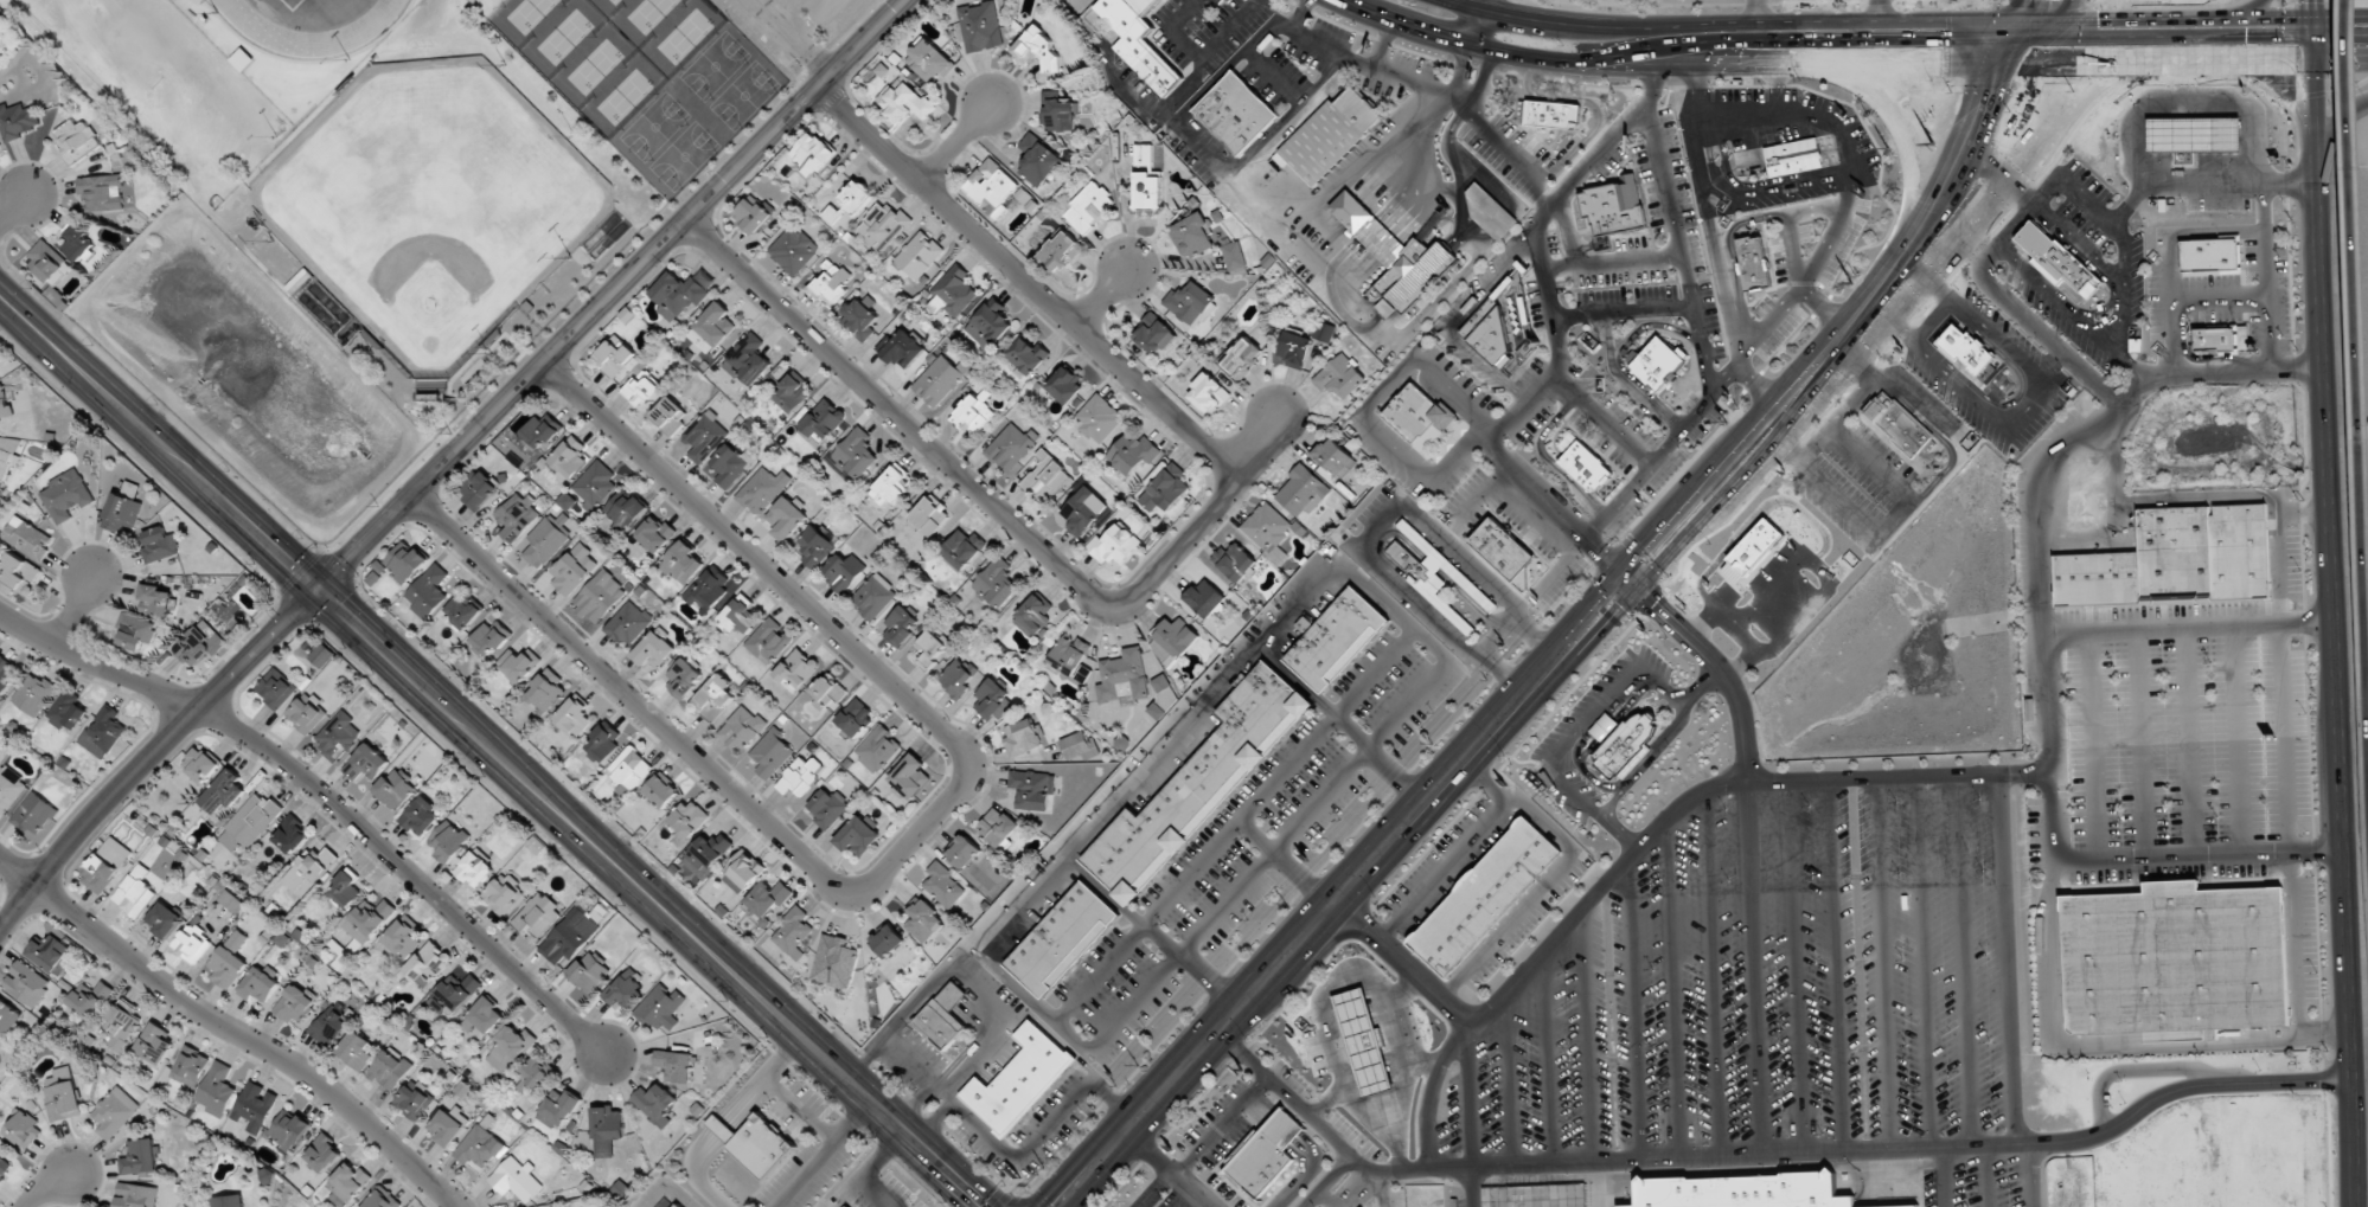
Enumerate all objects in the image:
park: (290, 4)
road: (1487, 6)
road: (2248, 13)
road: (1300, 14)
road: (1758, 14)
road: (1882, 14)
road: (774, 20)
traffic signals: (2340, 25)
building: (980, 26)
road: (2299, 26)
traffic signals: (2047, 27)
road: (1480, 30)
road: (1836, 30)
road: (1263, 31)
road: (798, 37)
building: (1139, 41)
road: (1382, 43)
road: (1678, 46)
building: (1038, 49)
road: (1199, 54)
building: (929, 60)
traffic signals: (2046, 63)
road: (2156, 63)
road: (2317, 63)
traffic signals: (2267, 64)
road: (1687, 68)
road: (1460, 71)
road: (1480, 77)
road: (2289, 79)
road: (1653, 90)
road: (1777, 91)
road: (1461, 101)
building: (905, 103)
building: (1236, 113)
building: (1058, 114)
building: (1550, 114)
building: (18, 121)
road: (2331, 124)
building: (2194, 135)
building: (1330, 136)
building: (76, 140)
road: (959, 142)
building: (0, 147)
road: (1719, 147)
power tower: (1929, 148)
building: (812, 153)
building: (1144, 155)
building: (1797, 158)
building: (1038, 160)
road: (2017, 182)
building: (991, 187)
road: (1764, 187)
building: (102, 192)
building: (1148, 192)
building: (856, 198)
building: (1614, 205)
road: (13, 208)
building: (1088, 208)
building: (1489, 210)
building: (751, 214)
building: (832, 214)
building: (883, 224)
road: (2010, 226)
road: (1567, 232)
building: (1191, 236)
building: (77, 242)
building: (793, 250)
building: (1061, 251)
road: (1729, 252)
building: (2210, 253)
building: (919, 255)
road: (1791, 255)
building: (1234, 256)
building: (1394, 257)
building: (2057, 258)
building: (46, 259)
road: (1611, 261)
building: (1753, 262)
road: (1720, 271)
road: (1810, 271)
road: (1028, 281)
building: (830, 283)
building: (681, 291)
building: (953, 291)
road: (612, 294)
power tower: (1842, 295)
road: (1105, 296)
building: (1189, 302)
road: (1621, 312)
road: (1824, 312)
building: (860, 317)
road: (1458, 320)
building: (990, 325)
building: (715, 328)
road: (2039, 330)
building: (1154, 333)
building: (1491, 335)
road: (1607, 338)
building: (2217, 338)
road: (2357, 338)
building: (1294, 347)
building: (1966, 348)
building: (903, 349)
building: (1028, 355)
building: (614, 357)
building: (1241, 357)
road: (1617, 358)
building: (748, 360)
building: (1658, 361)
road: (2219, 374)
building: (1339, 377)
building: (939, 380)
building: (1065, 385)
building: (642, 389)
building: (793, 392)
building: (1208, 393)
building: (5, 406)
building: (973, 413)
building: (670, 415)
building: (1419, 415)
building: (1097, 419)
road: (1600, 419)
building: (824, 420)
building: (1899, 424)
building: (542, 431)
building: (705, 436)
road: (1262, 445)
building: (1011, 447)
building: (1134, 451)
building: (7, 454)
building: (856, 454)
building: (1335, 456)
building: (570, 457)
road: (1500, 458)
road: (1548, 460)
building: (731, 464)
building: (1585, 466)
building: (1045, 477)
road: (966, 480)
building: (595, 483)
building: (890, 487)
building: (478, 489)
building: (762, 489)
building: (1165, 489)
building: (1301, 490)
building: (65, 495)
building: (122, 508)
building: (626, 508)
building: (1083, 511)
building: (929, 515)
building: (516, 516)
building: (787, 518)
building: (1267, 526)
building: (655, 533)
building: (1793, 533)
building: (27, 538)
building: (544, 542)
building: (159, 544)
building: (1114, 544)
building: (815, 546)
building: (1503, 547)
building: (964, 548)
building: (1752, 550)
building: (2177, 559)
building: (1234, 561)
building: (683, 563)
building: (403, 564)
building: (572, 569)
building: (843, 571)
building: (19, 572)
building: (1436, 574)
traffic signals: (1628, 579)
building: (996, 582)
power tower: (1577, 584)
building: (709, 588)
traffic signals: (318, 589)
building: (428, 592)
building: (599, 597)
building: (873, 597)
building: (1205, 597)
building: (155, 599)
road: (2335, 603)
road: (73, 610)
building: (463, 611)
building: (737, 615)
building: (1033, 616)
building: (628, 623)
road: (1589, 623)
building: (900, 625)
road: (2189, 630)
building: (135, 631)
building: (492, 637)
building: (1337, 638)
road: (2041, 638)
building: (1172, 640)
building: (206, 641)
building: (768, 642)
building: (654, 648)
building: (930, 648)
building: (321, 655)
building: (1071, 657)
building: (519, 665)
building: (796, 669)
building: (6, 673)
building: (958, 676)
building: (683, 679)
building: (276, 688)
building: (548, 689)
building: (828, 689)
building: (33, 694)
building: (1164, 695)
building: (715, 698)
building: (992, 699)
building: (68, 711)
building: (306, 713)
building: (572, 717)
building: (855, 717)
building: (741, 728)
building: (103, 732)
building: (338, 736)
building: (1023, 737)
building: (1628, 740)
building: (603, 741)
power tower: (1431, 741)
building: (1075, 746)
building: (877, 749)
road: (492, 751)
road: (153, 753)
building: (772, 753)
building: (366, 763)
building: (200, 764)
building: (631, 768)
building: (800, 776)
building: (909, 777)
building: (1198, 784)
building: (9, 788)
building: (395, 789)
building: (1032, 789)
building: (661, 790)
building: (224, 792)
road: (328, 797)
building: (827, 805)
building: (34, 813)
building: (420, 816)
building: (689, 817)
building: (250, 822)
building: (998, 827)
building: (292, 835)
road: (914, 835)
building: (858, 836)
building: (449, 841)
building: (964, 852)
building: (708, 854)
road: (2199, 858)
building: (105, 865)
building: (474, 868)
building: (308, 871)
building: (744, 871)
road: (15, 872)
building: (943, 885)
building: (347, 888)
building: (135, 892)
building: (504, 894)
building: (1485, 895)
building: (768, 898)
power tower: (1285, 900)
building: (537, 914)
building: (165, 919)
building: (367, 919)
building: (923, 920)
building: (793, 933)
building: (403, 937)
building: (570, 937)
building: (1062, 938)
building: (888, 940)
building: (192, 943)
road: (1547, 946)
building: (51, 954)
building: (2175, 958)
road: (2008, 959)
building: (229, 961)
road: (1964, 961)
building: (834, 962)
building: (429, 963)
road: (1402, 963)
road: (1921, 963)
road: (1882, 964)
road: (1835, 967)
road: (1753, 968)
road: (1794, 968)
building: (588, 971)
road: (1713, 975)
building: (26, 983)
building: (258, 987)
building: (623, 989)
road: (1672, 989)
building: (454, 994)
building: (90, 999)
building: (295, 1004)
building: (660, 1008)
road: (1634, 1012)
building: (484, 1016)
building: (943, 1017)
building: (8, 1019)
building: (121, 1023)
building: (331, 1027)
road: (249, 1038)
road: (1587, 1040)
building: (1369, 1042)
building: (0, 1044)
building: (153, 1045)
building: (511, 1048)
building: (357, 1049)
road: (1549, 1058)
building: (190, 1066)
building: (676, 1066)
power tower: (1138, 1066)
building: (390, 1070)
building: (535, 1072)
road: (763, 1078)
building: (1020, 1079)
road: (1509, 1081)
building: (216, 1090)
building: (63, 1094)
road: (1468, 1096)
building: (414, 1100)
building: (657, 1104)
building: (254, 1106)
building: (558, 1109)
road: (799, 1110)
building: (114, 1112)
building: (446, 1128)
building: (24, 1129)
building: (607, 1129)
road: (721, 1129)
building: (288, 1130)
building: (755, 1142)
building: (479, 1148)
building: (1265, 1153)
building: (324, 1154)
road: (823, 1154)
building: (140, 1157)
road: (1762, 1157)
building: (4, 1167)
power tower: (1043, 1167)
road: (866, 1169)
road: (693, 1175)
road: (2030, 1175)
road: (1986, 1176)
road: (1944, 1177)
building: (516, 1179)
building: (351, 1181)
road: (47, 1186)
road: (1472, 1187)
building: (1742, 1190)
road: (672, 1192)
building: (135, 1195)
building: (382, 1199)
building: (230, 1201)
building: (678, 1205)
building: (849, 1206)
building: (1896, 1206)

